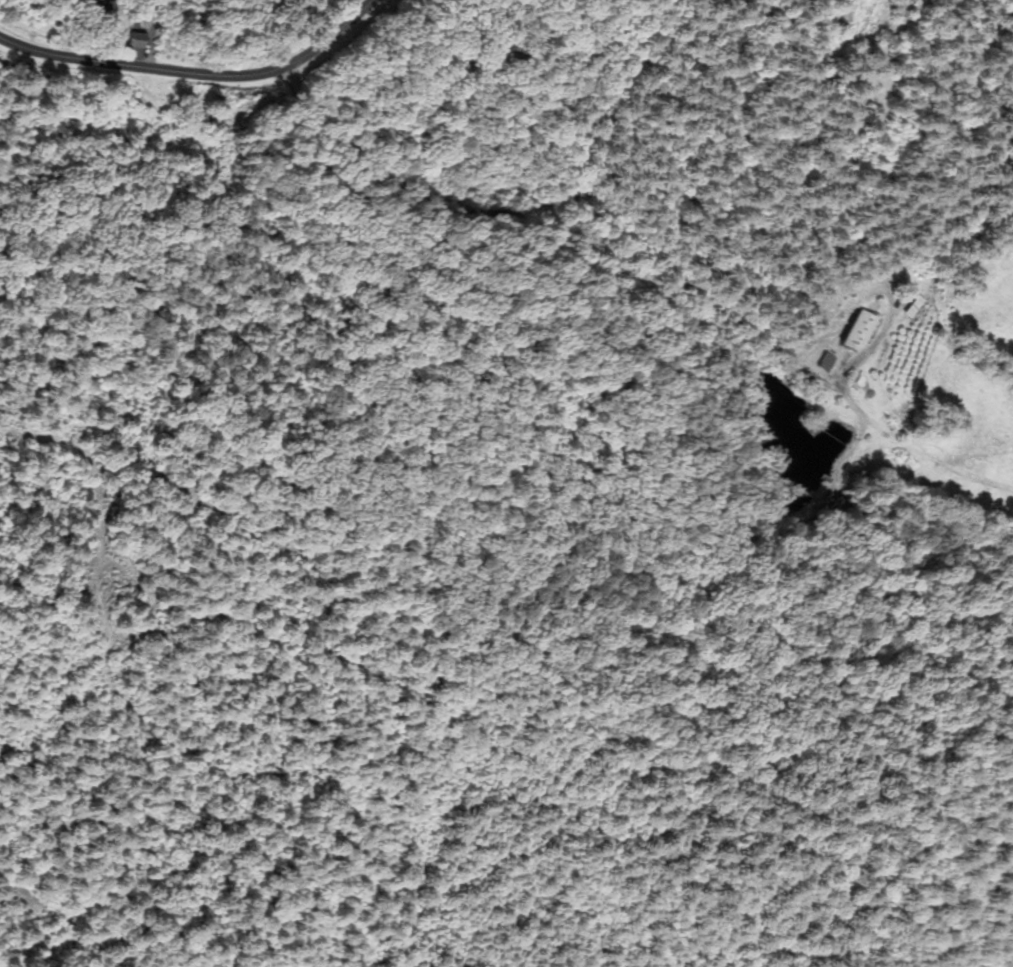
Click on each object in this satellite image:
building: (140, 40)
road: (195, 72)
road: (573, 203)
building: (859, 330)
building: (830, 362)

